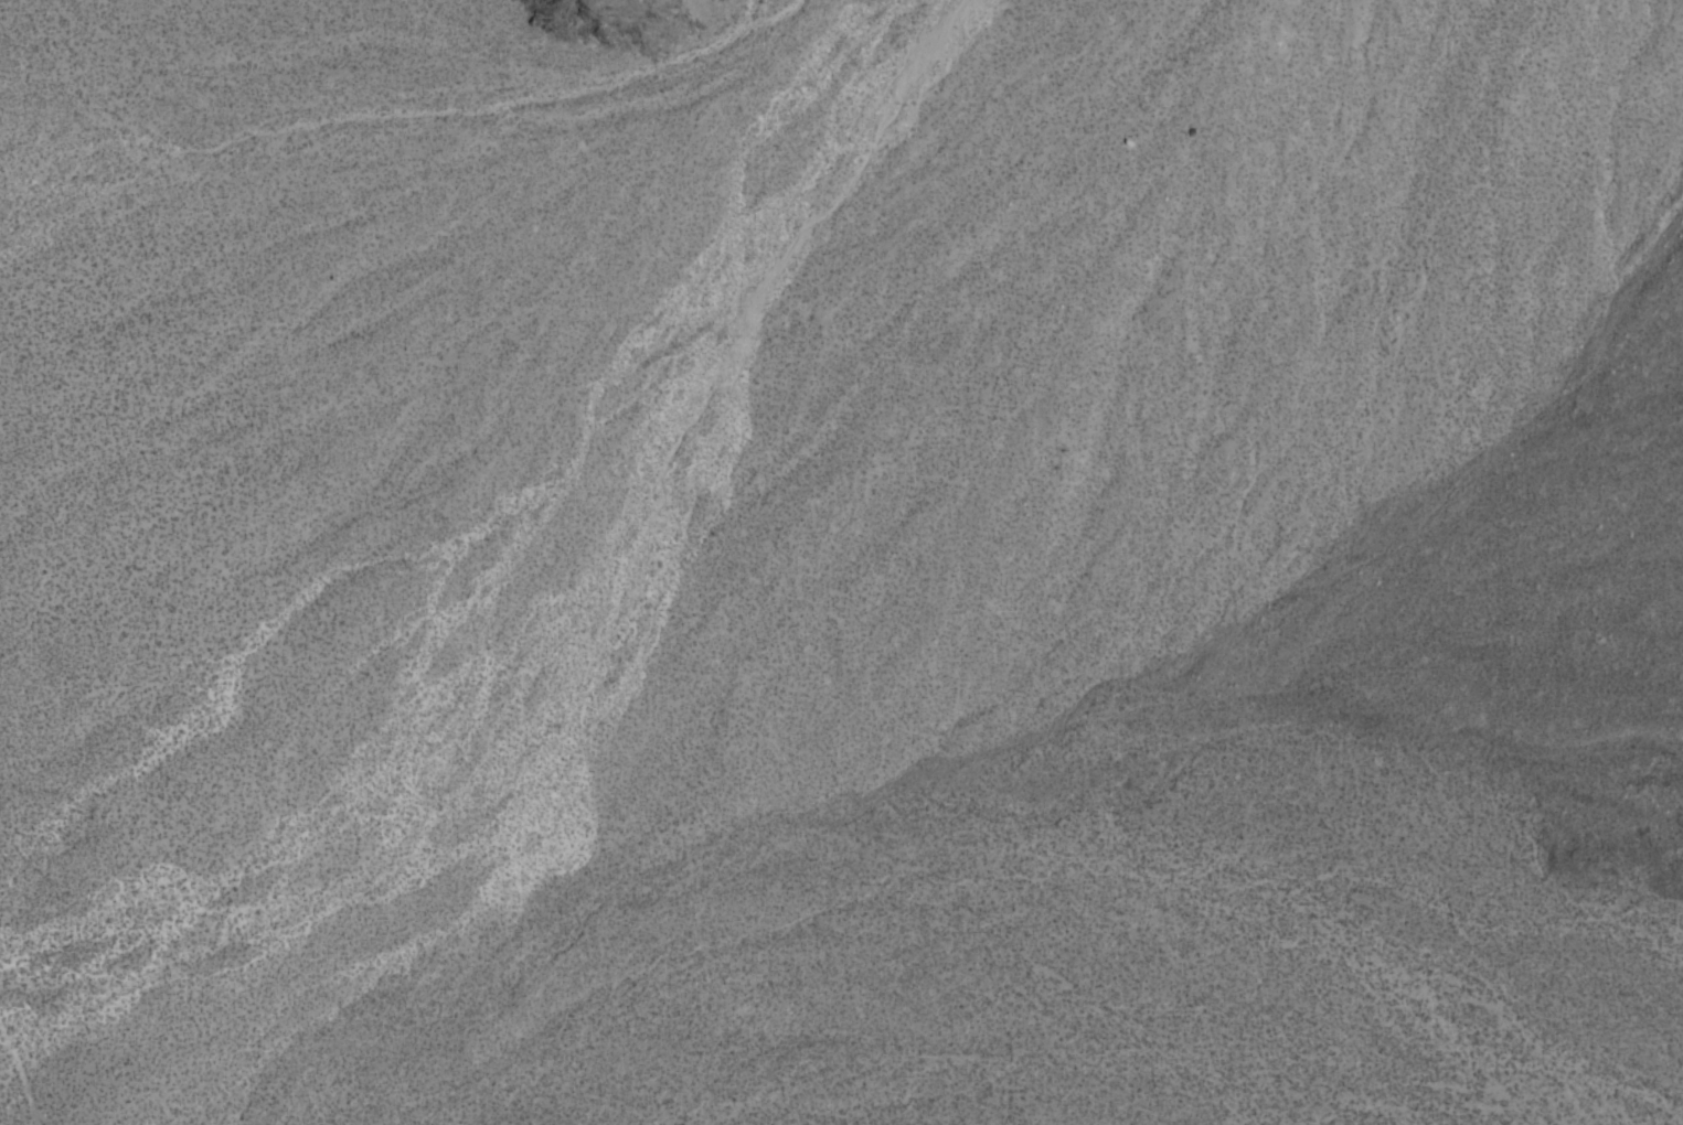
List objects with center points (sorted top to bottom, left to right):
road: (21, 1067)

